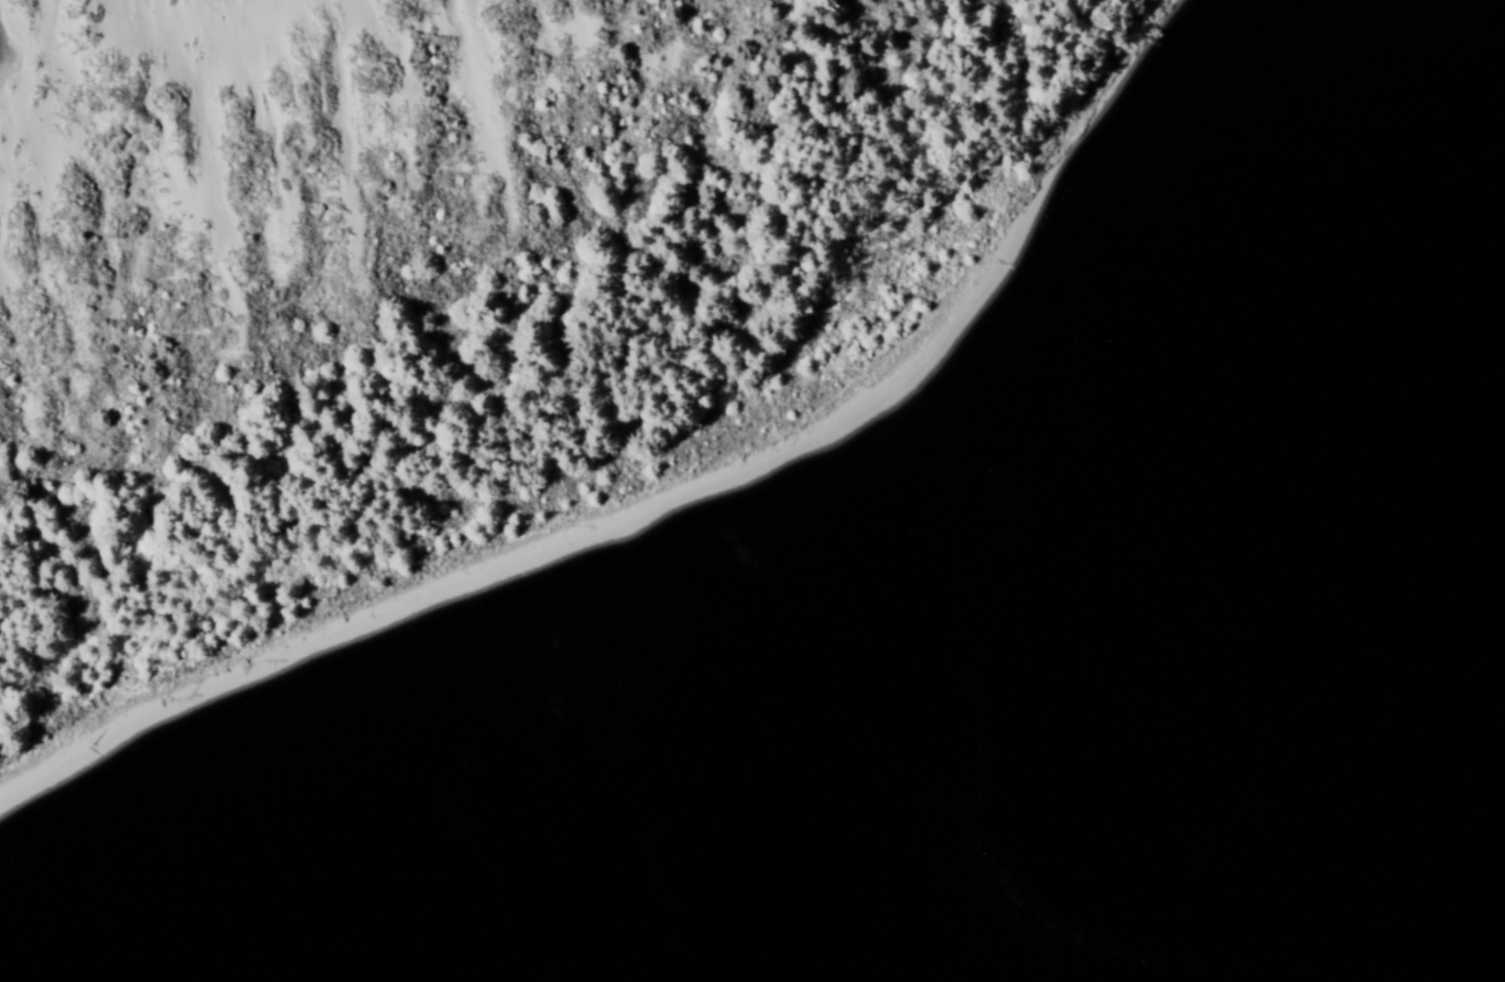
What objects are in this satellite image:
river: (1349, 869)

